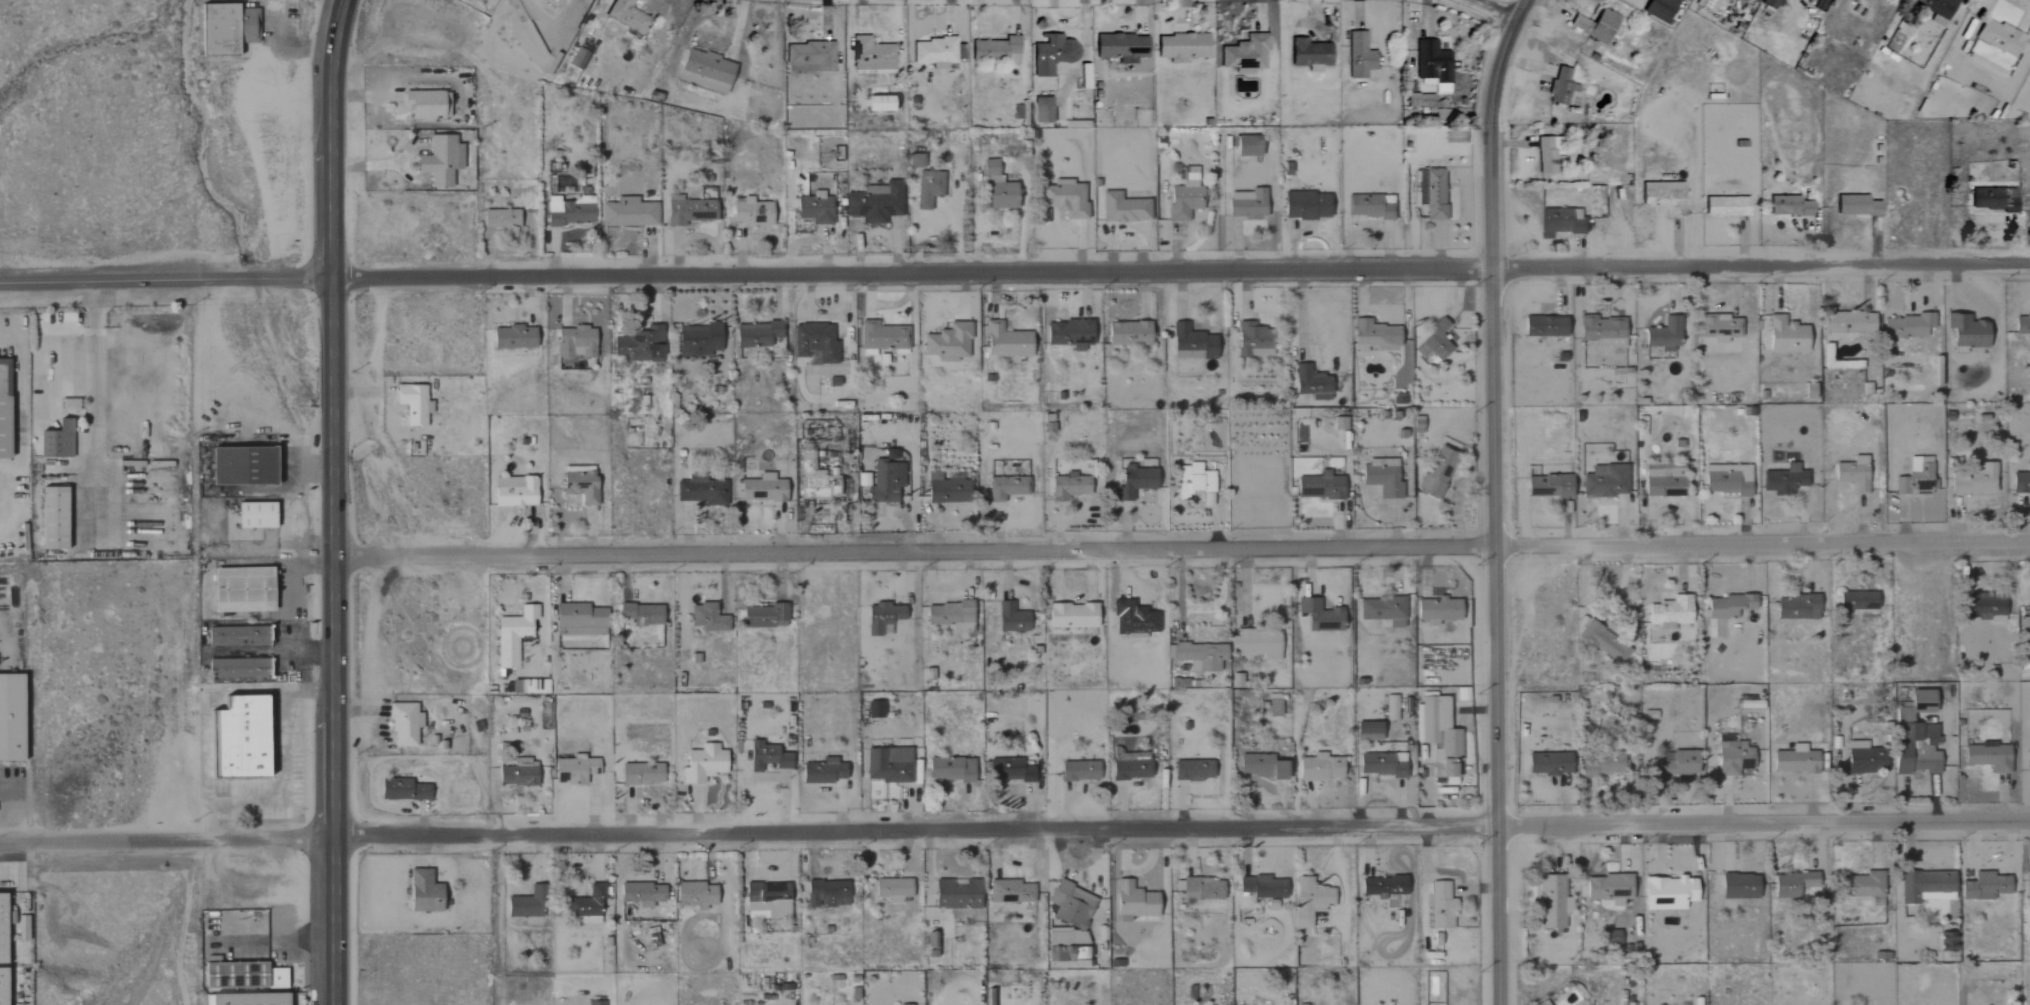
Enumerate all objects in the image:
building: (1769, 4)
building: (1711, 5)
building: (1937, 6)
building: (1659, 9)
road: (1491, 11)
road: (599, 14)
building: (627, 16)
building: (1596, 26)
building: (225, 29)
building: (1999, 37)
building: (1121, 47)
building: (1181, 47)
building: (995, 50)
building: (937, 53)
building: (1245, 53)
building: (1052, 54)
building: (871, 55)
building: (809, 56)
building: (1359, 56)
building: (575, 59)
building: (1432, 66)
building: (704, 71)
building: (1560, 87)
building: (877, 104)
building: (425, 105)
building: (1042, 110)
building: (1247, 146)
building: (1546, 156)
building: (439, 161)
building: (915, 161)
building: (927, 188)
building: (996, 189)
building: (1432, 193)
building: (1664, 198)
building: (1067, 199)
building: (1183, 199)
building: (1993, 200)
building: (874, 203)
building: (1245, 204)
building: (1305, 206)
building: (1369, 206)
building: (1792, 206)
building: (1857, 206)
building: (1726, 207)
building: (1122, 208)
building: (814, 209)
building: (568, 211)
building: (687, 211)
building: (751, 212)
building: (628, 213)
building: (499, 219)
building: (1560, 221)
road: (1180, 273)
road: (164, 281)
building: (1848, 322)
building: (2022, 324)
building: (1907, 325)
building: (1544, 326)
building: (1719, 327)
building: (1602, 331)
building: (1069, 333)
building: (1127, 333)
building: (756, 334)
building: (1664, 334)
building: (1373, 335)
building: (1786, 335)
building: (512, 337)
building: (881, 337)
road: (4, 338)
building: (698, 339)
building: (1252, 340)
building: (1436, 340)
building: (1005, 341)
building: (575, 342)
building: (947, 342)
building: (639, 343)
building: (814, 343)
building: (1192, 343)
building: (1309, 381)
building: (832, 382)
road: (93, 401)
building: (412, 403)
building: (3, 407)
building: (1338, 423)
building: (1417, 424)
building: (55, 440)
building: (240, 465)
building: (1438, 472)
building: (1852, 474)
building: (1381, 477)
building: (1915, 477)
building: (1783, 478)
building: (814, 479)
building: (1727, 479)
building: (1974, 479)
building: (1134, 480)
building: (1663, 480)
building: (1605, 481)
building: (1194, 482)
building: (2020, 482)
building: (579, 483)
building: (881, 483)
building: (1069, 486)
building: (1548, 486)
building: (1006, 487)
building: (1318, 487)
building: (761, 488)
building: (946, 489)
building: (513, 491)
building: (701, 491)
road: (1495, 499)
road: (330, 501)
building: (253, 515)
building: (51, 518)
road: (1180, 548)
building: (240, 589)
building: (1857, 600)
building: (1728, 605)
building: (1797, 607)
building: (1985, 607)
building: (1383, 610)
building: (1437, 610)
building: (1669, 611)
building: (640, 614)
building: (1071, 615)
building: (1319, 615)
building: (764, 616)
building: (950, 616)
building: (706, 617)
building: (882, 618)
building: (1011, 618)
building: (578, 620)
building: (2025, 622)
building: (512, 635)
building: (1604, 642)
building: (1256, 644)
building: (1199, 656)
building: (236, 668)
building: (1749, 702)
building: (1273, 705)
building: (1390, 707)
building: (874, 710)
building: (10, 717)
building: (1903, 718)
building: (403, 724)
building: (1368, 731)
building: (1439, 735)
building: (238, 738)
building: (1732, 756)
building: (766, 757)
building: (1988, 757)
building: (1864, 758)
building: (1793, 759)
building: (2029, 759)
building: (1924, 760)
building: (1899, 762)
building: (701, 763)
building: (1548, 764)
building: (1677, 764)
building: (887, 765)
building: (1380, 765)
building: (1260, 766)
building: (1318, 767)
building: (1600, 767)
building: (950, 769)
building: (573, 770)
building: (1008, 770)
building: (1129, 770)
building: (1192, 770)
building: (822, 771)
building: (1079, 771)
building: (640, 774)
building: (516, 775)
building: (401, 790)
road: (1178, 830)
road: (164, 839)
building: (1792, 884)
building: (1862, 885)
building: (1383, 886)
building: (1738, 886)
building: (1926, 886)
building: (1983, 886)
building: (1263, 887)
building: (1608, 888)
building: (1199, 889)
building: (2027, 889)
building: (891, 890)
building: (422, 891)
building: (1010, 892)
building: (1667, 893)
building: (641, 894)
building: (763, 894)
building: (826, 894)
building: (956, 894)
building: (694, 895)
building: (1312, 895)
building: (1133, 902)
building: (1551, 902)
building: (526, 904)
building: (1070, 905)
building: (1440, 907)
building: (1302, 918)
building: (1, 930)
building: (1611, 937)
building: (241, 976)
building: (1, 986)
building: (244, 999)
building: (595, 1003)

